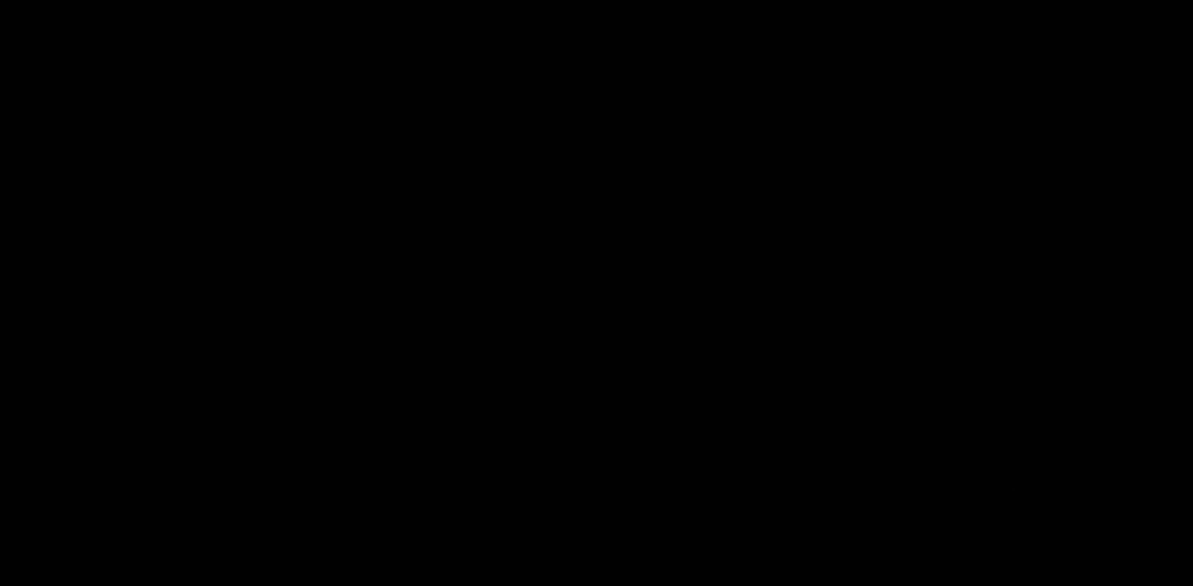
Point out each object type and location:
river: (596, 327)

